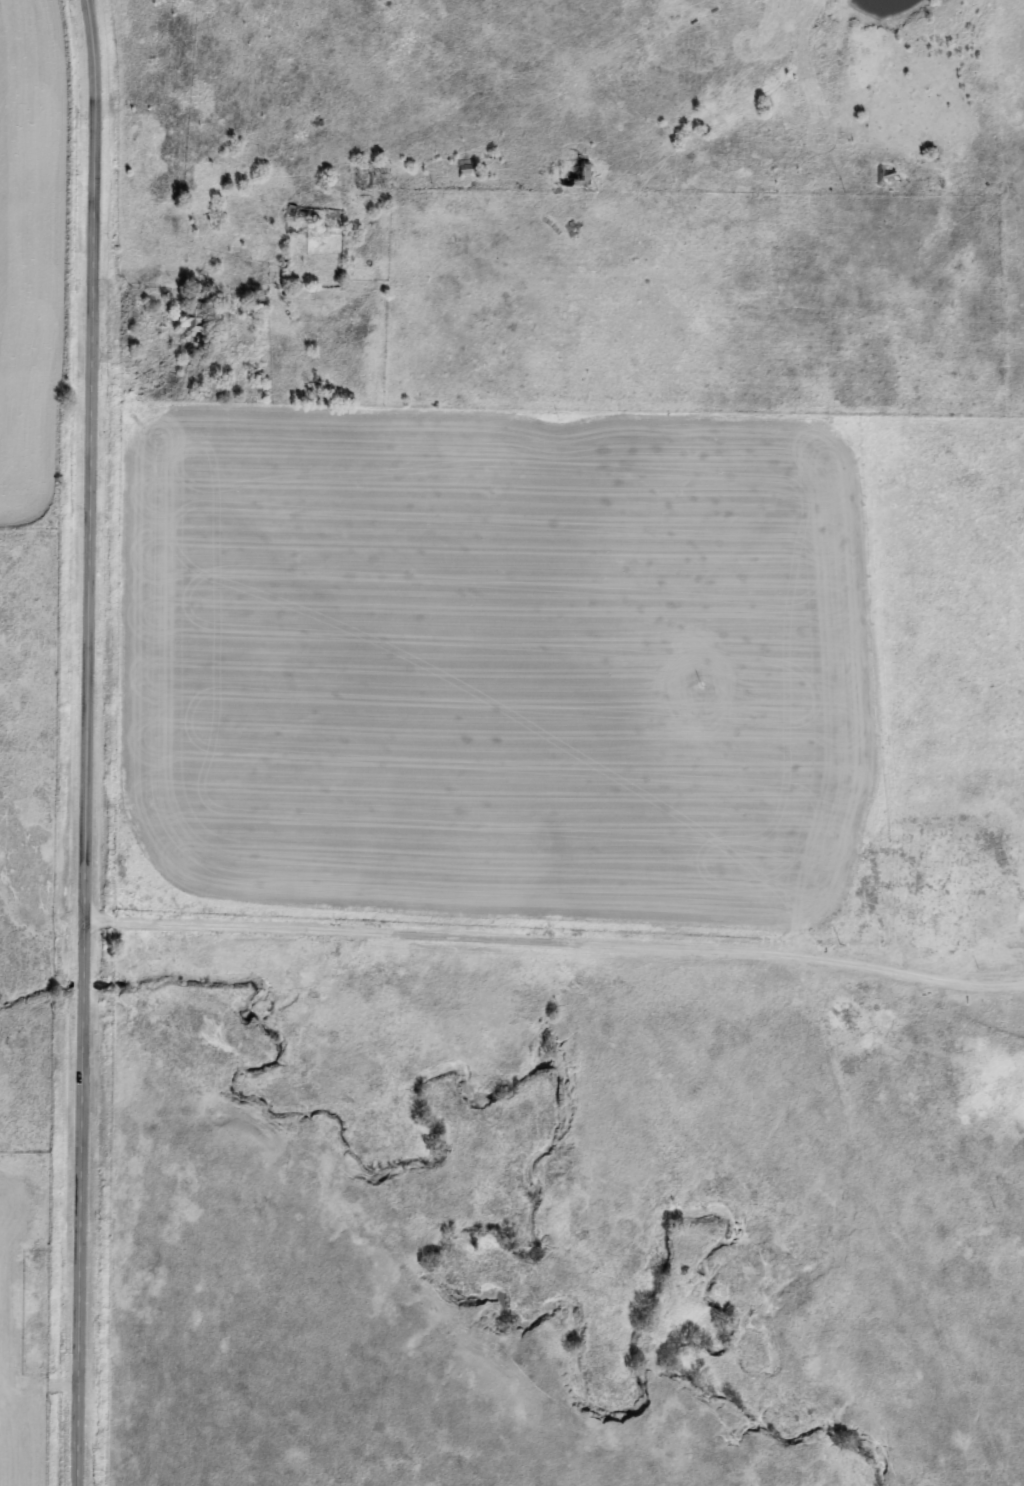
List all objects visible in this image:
building: (568, 174)
building: (876, 178)
building: (188, 325)
road: (87, 742)
building: (938, 891)
road: (555, 953)

